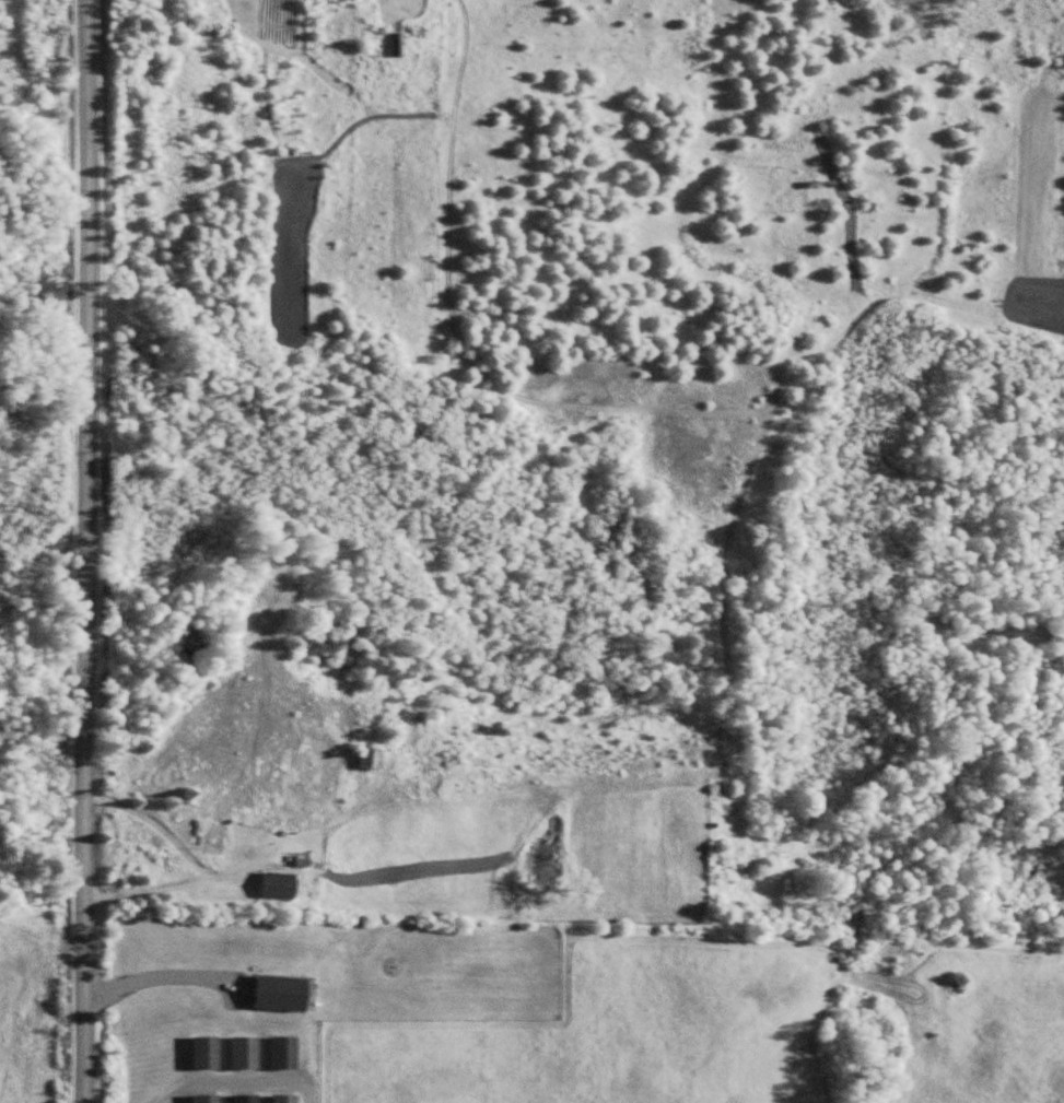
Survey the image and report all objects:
building: (397, 44)
road: (87, 551)
building: (374, 758)
building: (214, 840)
building: (347, 875)
building: (281, 884)
building: (283, 993)
building: (209, 1053)
building: (248, 1053)
building: (287, 1053)
building: (209, 1099)
building: (249, 1099)
building: (288, 1099)

